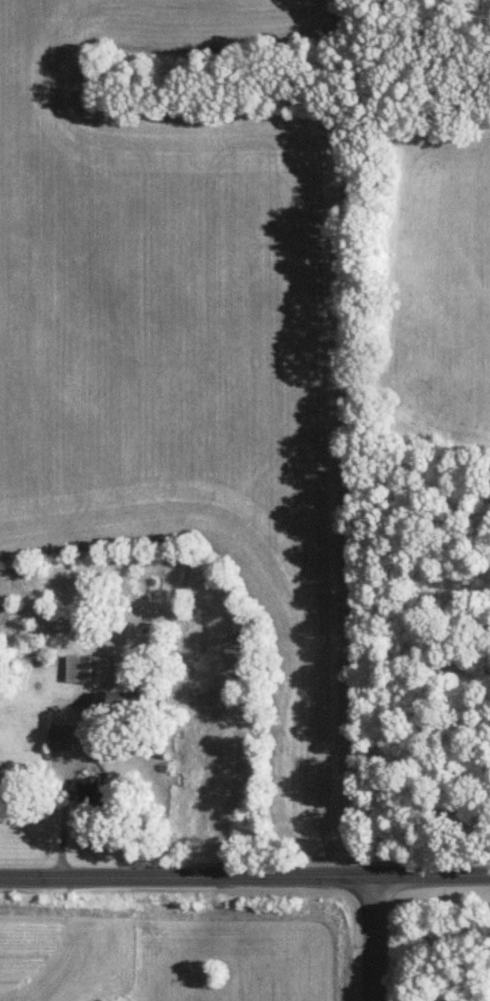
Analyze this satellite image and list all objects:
building: (89, 670)
building: (129, 706)
building: (63, 737)
building: (95, 798)
road: (63, 816)
road: (244, 876)
road: (371, 938)

